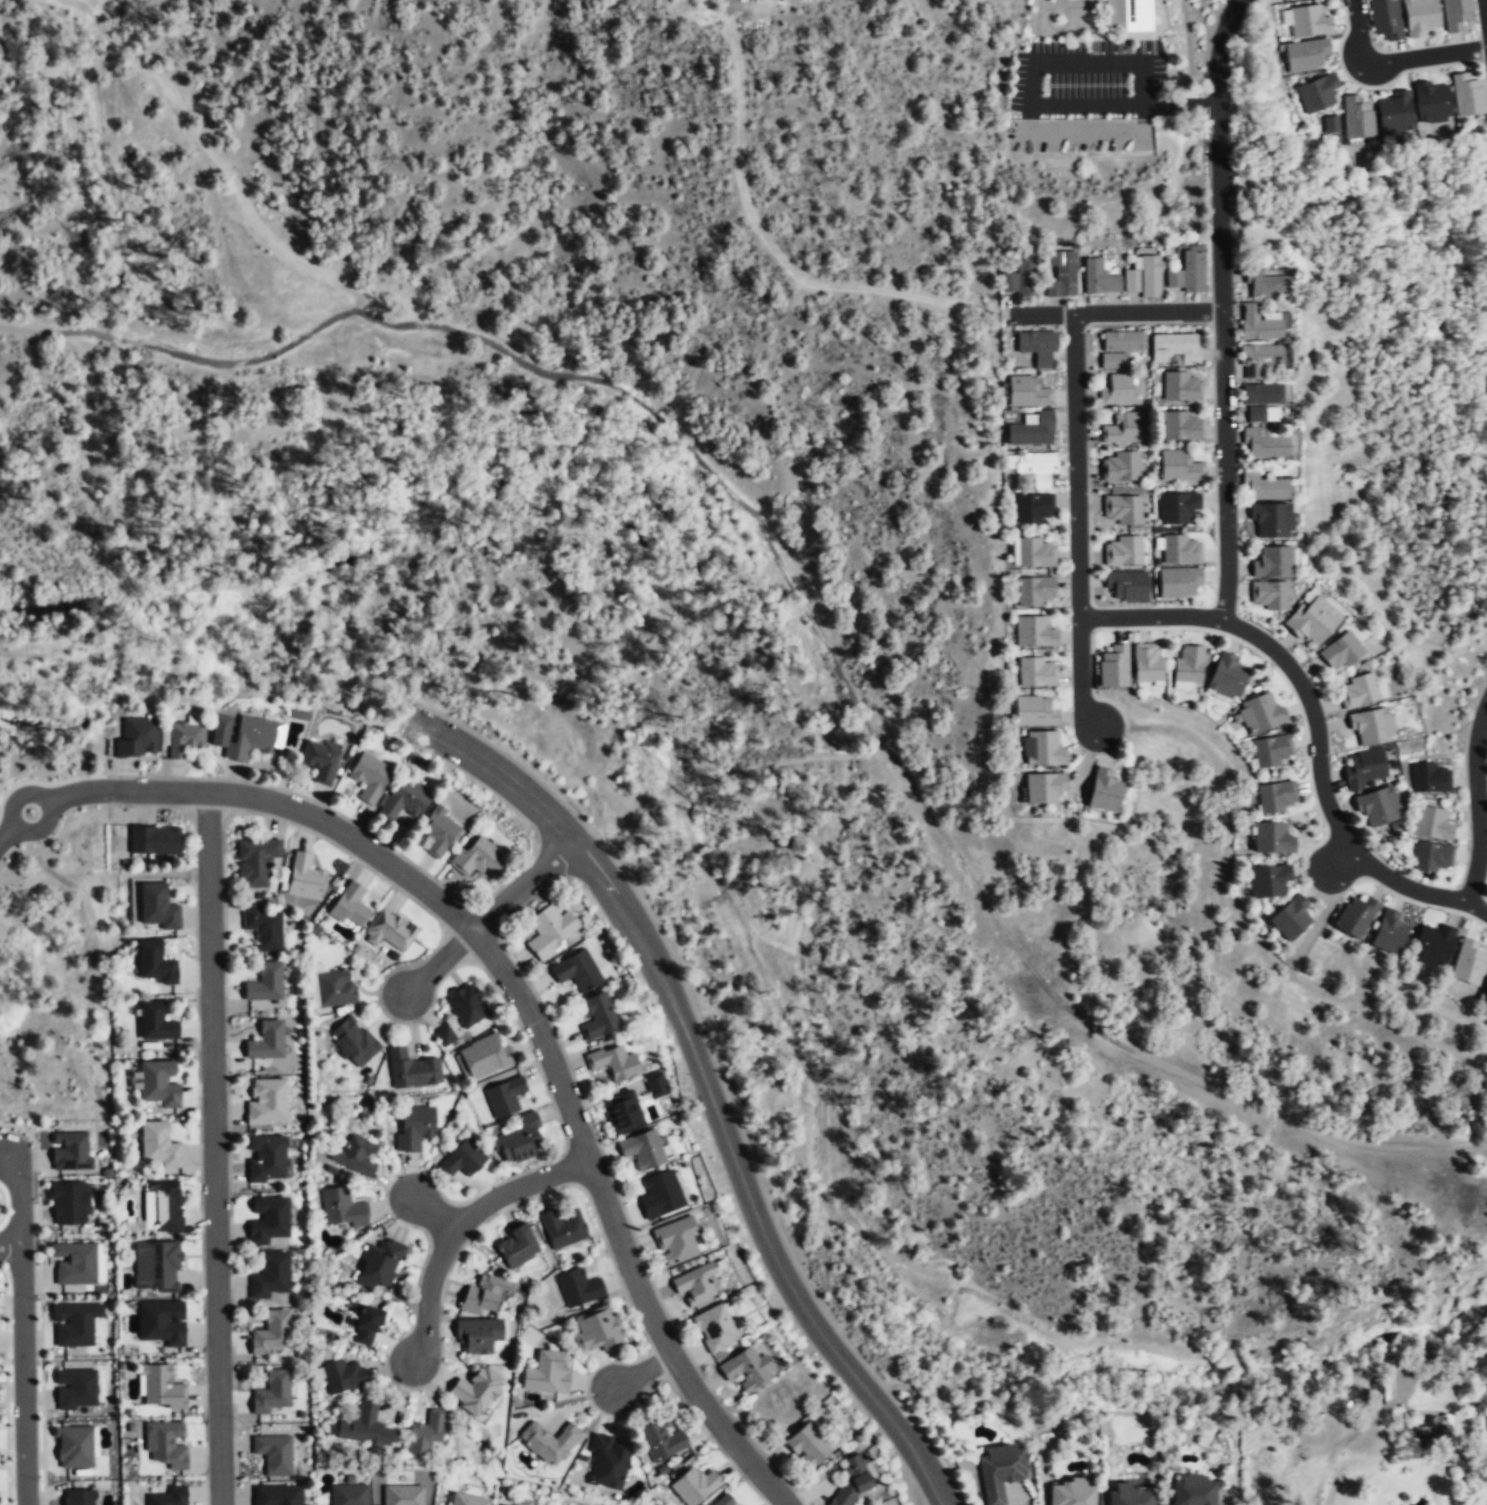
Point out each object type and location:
building: (1290, 0)
road: (1485, 9)
building: (1455, 13)
building: (1128, 15)
building: (1420, 16)
building: (1385, 18)
building: (1309, 20)
building: (1305, 54)
road: (1395, 60)
road: (1089, 62)
building: (1317, 92)
building: (1468, 95)
building: (1431, 101)
road: (1123, 105)
building: (1396, 113)
building: (1357, 117)
building: (1332, 126)
road: (400, 148)
road: (218, 160)
building: (1187, 274)
building: (1061, 275)
building: (1021, 278)
building: (1123, 278)
building: (1266, 286)
road: (412, 304)
road: (1221, 309)
road: (1117, 313)
building: (1259, 325)
building: (1037, 348)
building: (1119, 349)
building: (1175, 349)
building: (1259, 361)
road: (223, 363)
building: (1181, 387)
building: (1118, 391)
building: (1028, 393)
building: (1261, 402)
building: (1183, 427)
building: (1124, 430)
building: (1032, 431)
building: (1267, 445)
building: (1180, 467)
building: (1033, 468)
building: (1119, 468)
building: (1264, 488)
building: (1032, 509)
building: (1177, 509)
building: (1121, 511)
building: (1271, 521)
road: (1077, 524)
building: (1181, 551)
building: (1122, 553)
building: (1035, 554)
building: (1273, 563)
building: (1177, 585)
building: (1126, 587)
building: (1034, 592)
building: (1272, 595)
road: (1150, 615)
building: (1315, 621)
building: (1033, 633)
building: (1343, 651)
building: (1147, 665)
building: (1116, 666)
building: (1188, 667)
building: (1036, 674)
building: (1227, 677)
building: (1361, 690)
building: (1034, 713)
building: (1260, 713)
building: (1374, 725)
building: (183, 737)
building: (242, 737)
building: (137, 738)
building: (1041, 750)
building: (1272, 752)
building: (321, 763)
building: (1367, 767)
road: (720, 770)
building: (1432, 777)
building: (370, 778)
road: (1323, 781)
building: (1043, 789)
road: (96, 791)
building: (1104, 793)
road: (920, 798)
building: (1277, 798)
building: (404, 801)
road: (1477, 802)
building: (1379, 806)
building: (1433, 823)
building: (437, 832)
road: (351, 837)
building: (1272, 839)
building: (154, 840)
building: (1434, 855)
road: (1341, 857)
building: (478, 859)
building: (256, 861)
building: (305, 877)
building: (1267, 883)
road: (523, 886)
building: (350, 905)
building: (158, 906)
road: (1477, 907)
road: (1234, 916)
building: (1359, 916)
building: (1289, 920)
road: (1317, 923)
building: (263, 928)
building: (389, 929)
building: (550, 931)
building: (1391, 932)
building: (1436, 945)
road: (441, 961)
building: (155, 962)
building: (1470, 962)
building: (577, 971)
building: (264, 984)
building: (335, 989)
building: (467, 1005)
building: (1486, 1006)
building: (597, 1016)
building: (156, 1021)
building: (444, 1034)
building: (353, 1042)
building: (265, 1043)
building: (482, 1057)
building: (614, 1063)
building: (412, 1069)
building: (158, 1082)
building: (655, 1084)
road: (706, 1086)
building: (504, 1097)
building: (266, 1103)
building: (623, 1112)
building: (414, 1127)
building: (520, 1141)
building: (158, 1145)
road: (213, 1147)
building: (642, 1149)
building: (71, 1151)
building: (355, 1155)
building: (265, 1159)
building: (463, 1159)
building: (660, 1195)
building: (69, 1202)
building: (162, 1207)
building: (341, 1209)
road: (432, 1213)
building: (266, 1219)
road: (459, 1223)
building: (563, 1228)
road: (614, 1228)
building: (676, 1243)
road: (9, 1245)
building: (516, 1246)
building: (74, 1264)
building: (381, 1264)
building: (156, 1266)
building: (269, 1276)
building: (695, 1285)
building: (577, 1288)
building: (484, 1294)
building: (160, 1321)
building: (73, 1324)
building: (366, 1326)
road: (21, 1329)
building: (596, 1329)
building: (715, 1329)
building: (272, 1334)
building: (479, 1335)
building: (746, 1369)
building: (546, 1372)
road: (639, 1373)
building: (343, 1376)
building: (160, 1387)
building: (74, 1389)
building: (475, 1391)
building: (272, 1393)
building: (364, 1428)
building: (1430, 1428)
building: (426, 1433)
building: (661, 1441)
building: (549, 1442)
building: (166, 1443)
building: (807, 1446)
building: (74, 1447)
building: (273, 1455)
building: (607, 1463)
building: (1000, 1471)
building: (852, 1483)
building: (695, 1486)
building: (1193, 1491)
building: (1070, 1493)
building: (278, 1495)
building: (348, 1495)
building: (402, 1495)
building: (168, 1496)
building: (1129, 1496)
building: (78, 1497)
building: (467, 1500)
building: (723, 1501)

